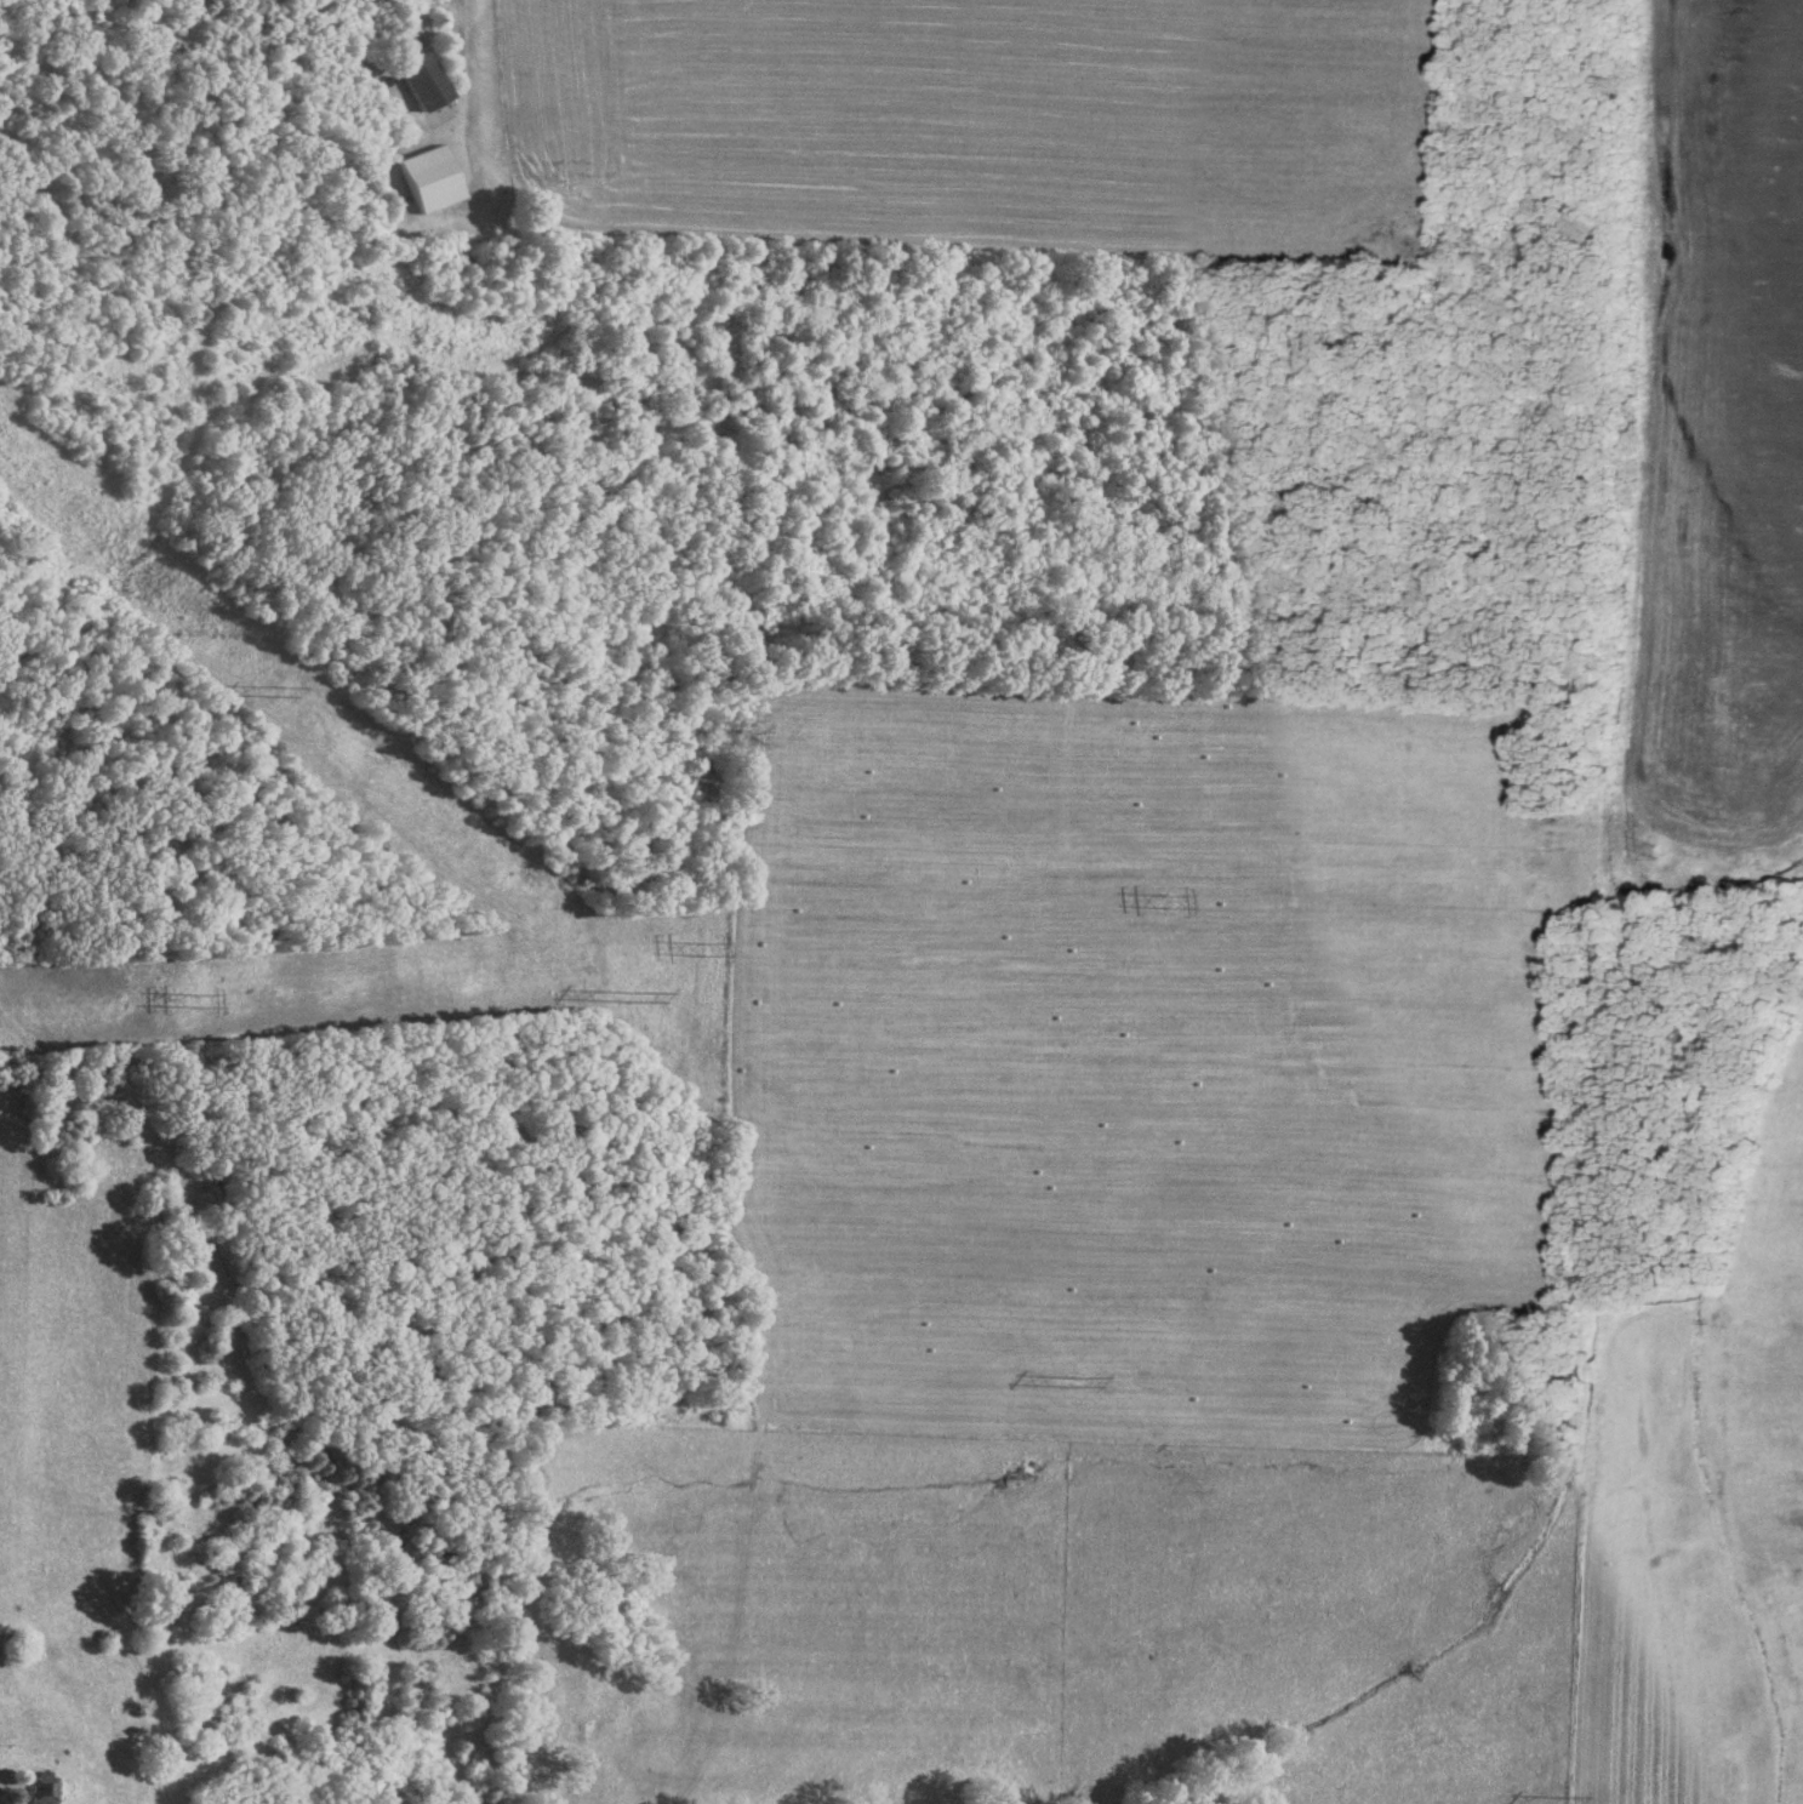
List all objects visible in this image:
road: (463, 45)
building: (423, 74)
building: (434, 177)
power tower: (283, 690)
power tower: (1651, 855)
power tower: (1174, 903)
power tower: (698, 948)
power tower: (635, 998)
power tower: (201, 1005)
power tower: (1079, 1382)
building: (46, 1787)
power tower: (1559, 1802)

